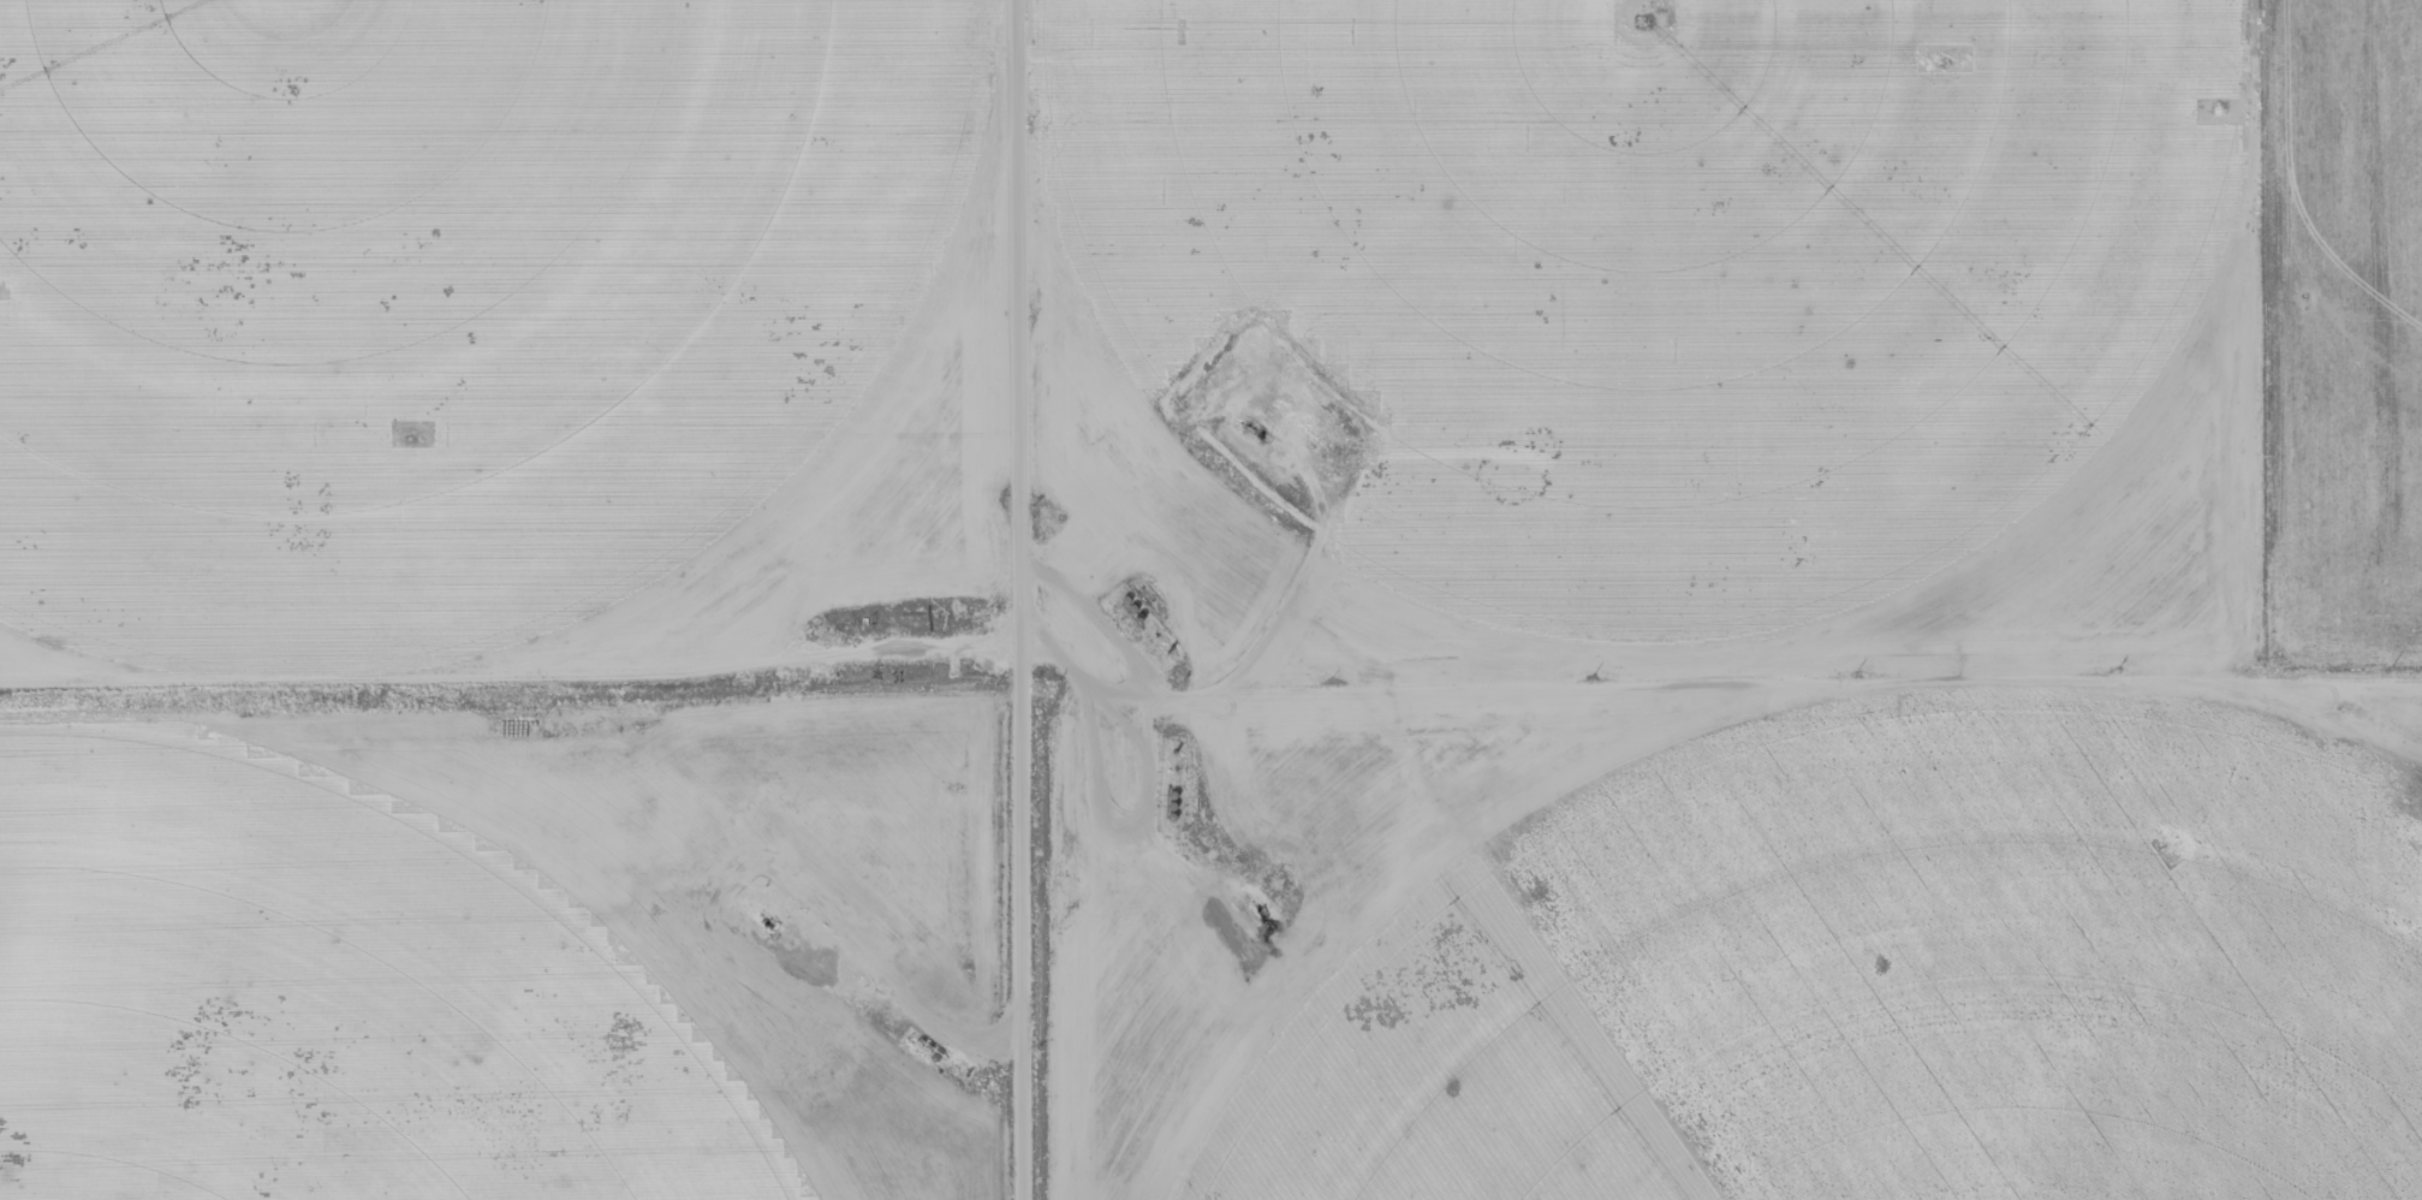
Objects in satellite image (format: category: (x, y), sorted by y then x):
road: (1025, 600)
road: (2238, 682)

